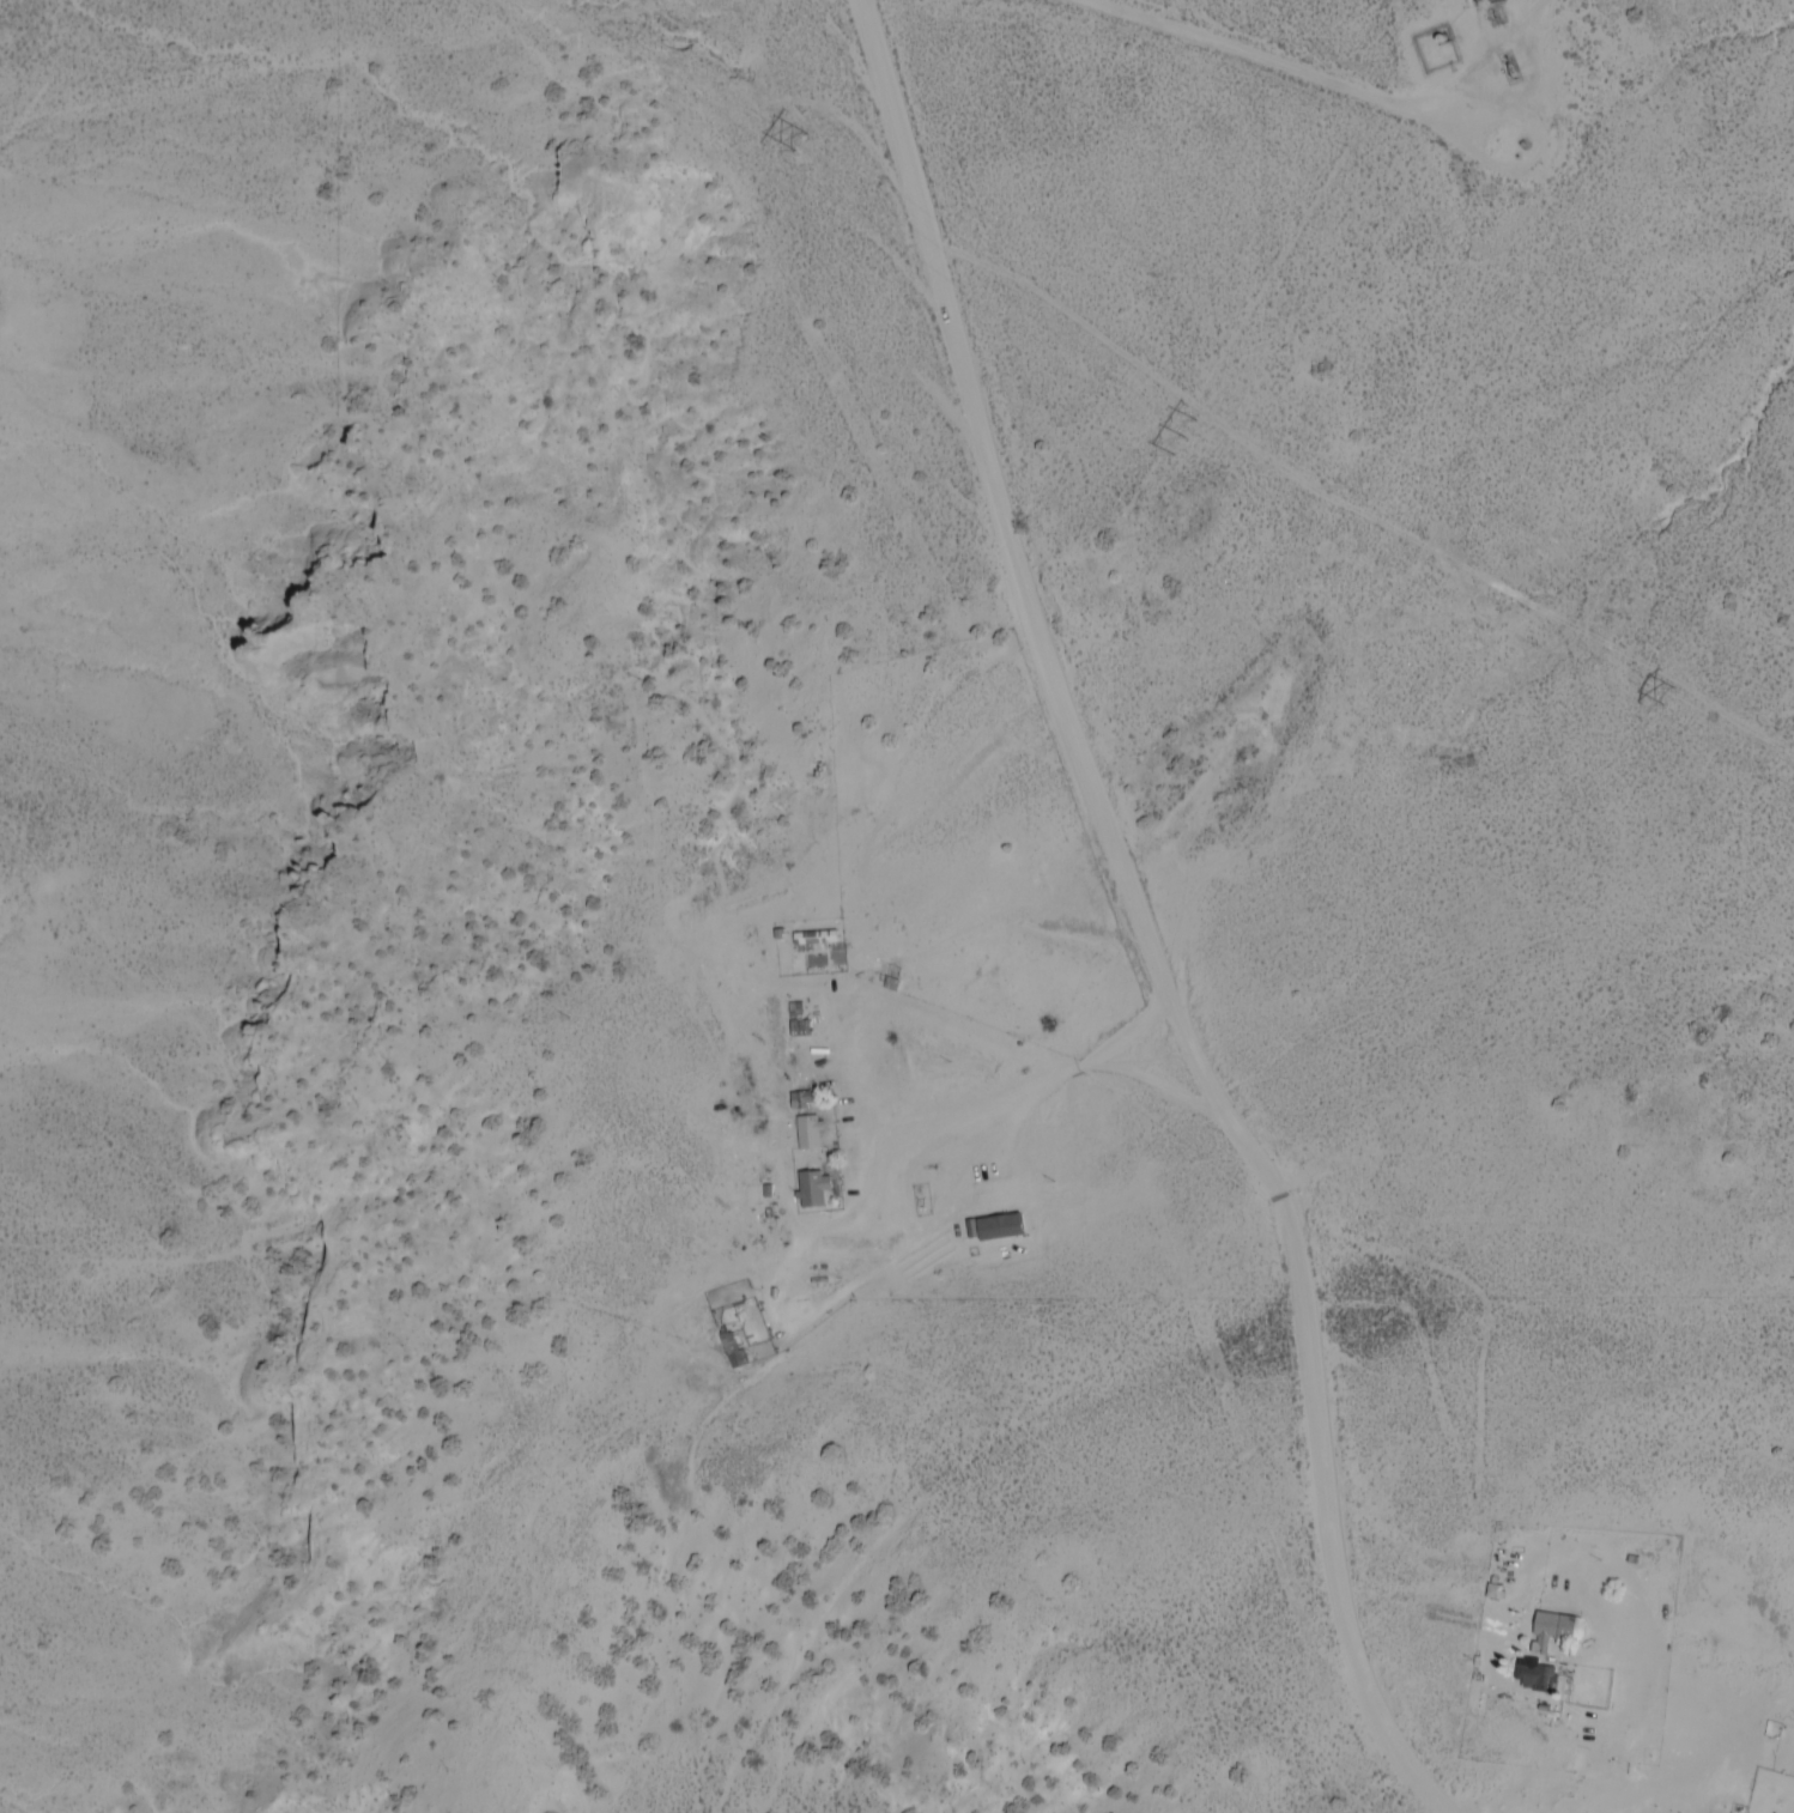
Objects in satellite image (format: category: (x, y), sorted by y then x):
power tower: (795, 145)
power tower: (1183, 439)
power tower: (1650, 701)
road: (1146, 920)
building: (813, 939)
building: (807, 1134)
building: (811, 1192)
building: (731, 1351)
building: (1548, 1632)
building: (1522, 1675)

